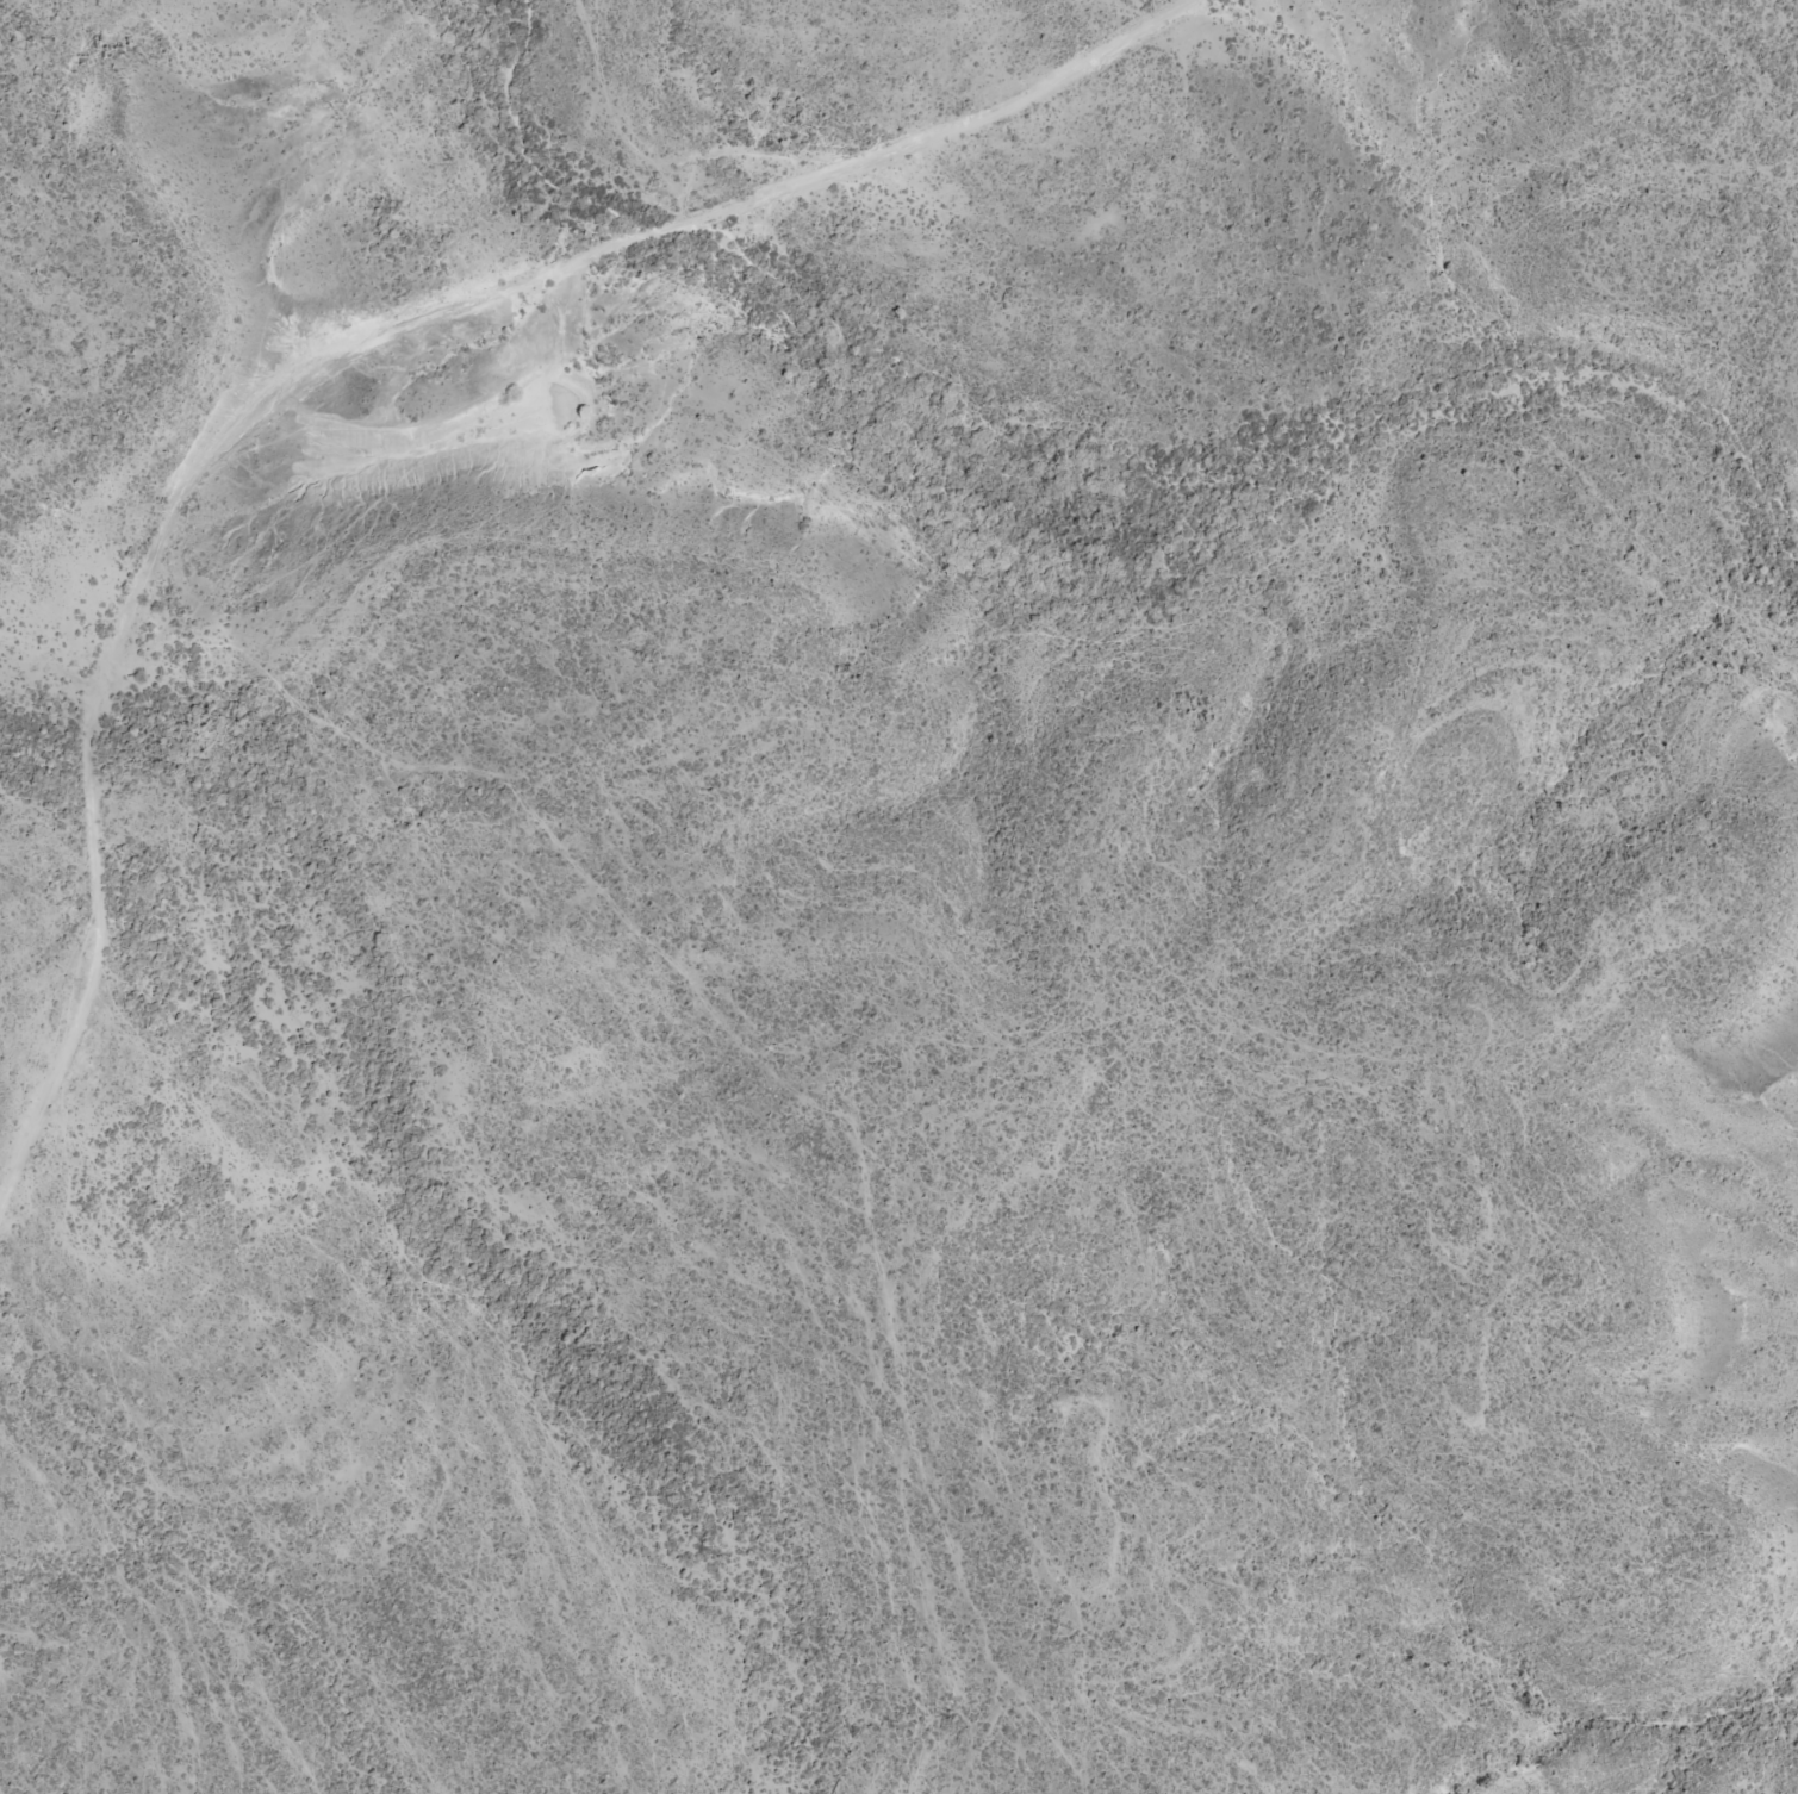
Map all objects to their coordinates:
road: (328, 372)

